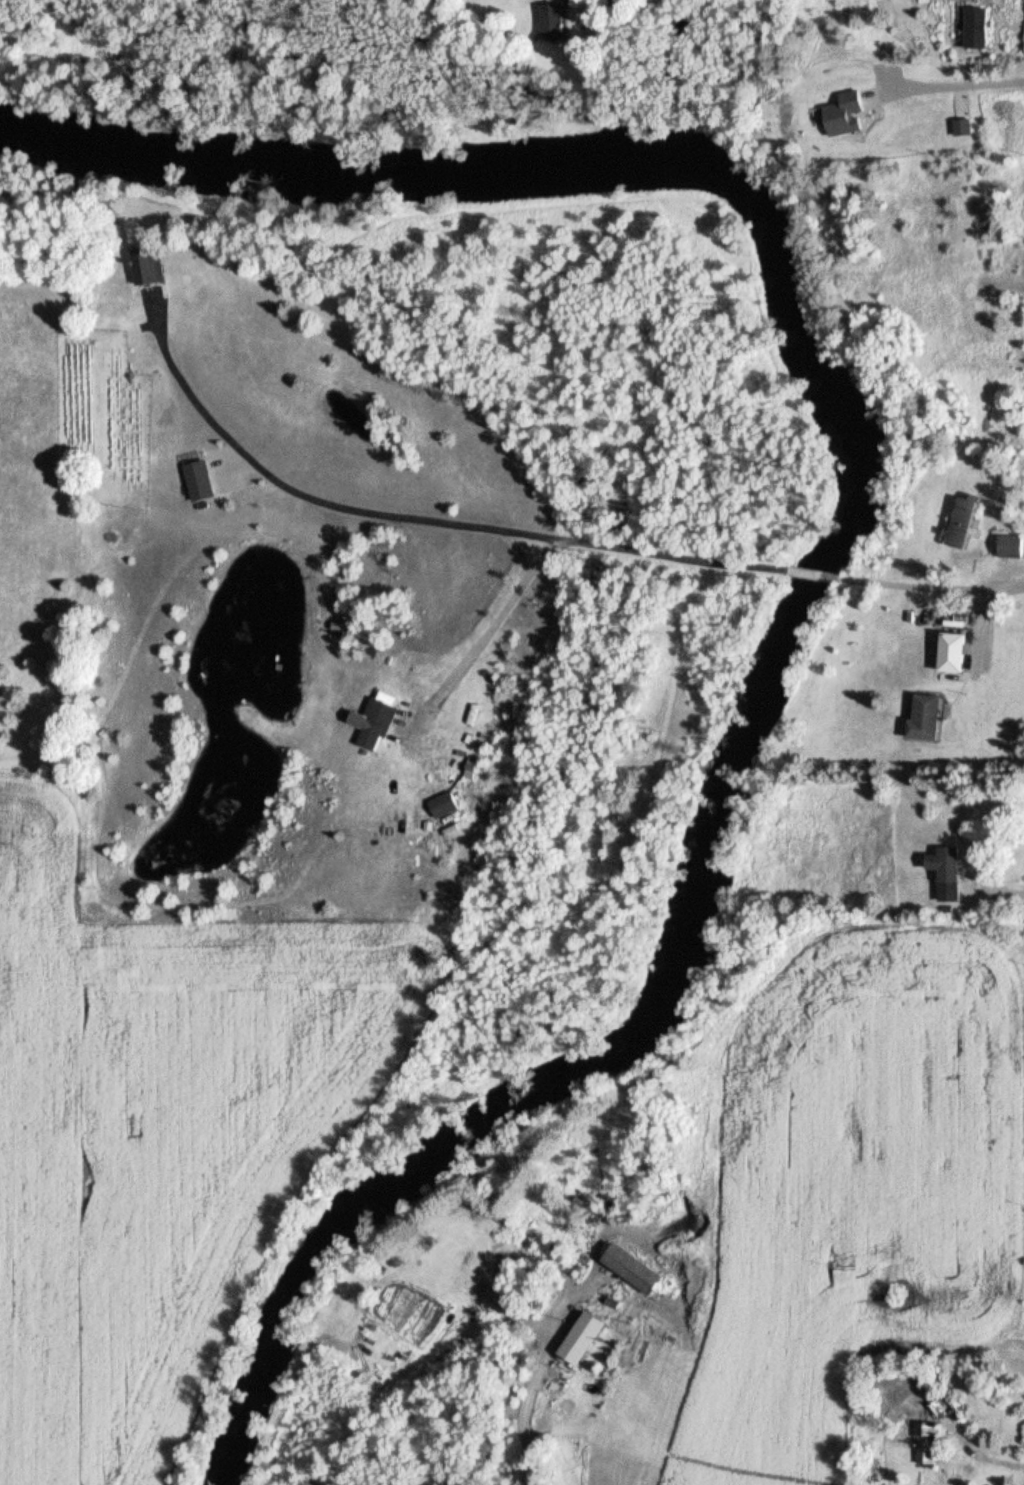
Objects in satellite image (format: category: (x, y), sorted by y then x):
building: (554, 21)
building: (974, 29)
road: (947, 88)
building: (843, 115)
river: (345, 184)
building: (149, 270)
building: (196, 483)
road: (408, 520)
building: (963, 525)
building: (1010, 548)
road: (816, 576)
road: (935, 589)
building: (952, 654)
building: (924, 719)
building: (376, 721)
building: (444, 806)
building: (946, 873)
river: (696, 877)
building: (583, 1338)
road: (529, 1383)
building: (943, 1409)
building: (925, 1444)

